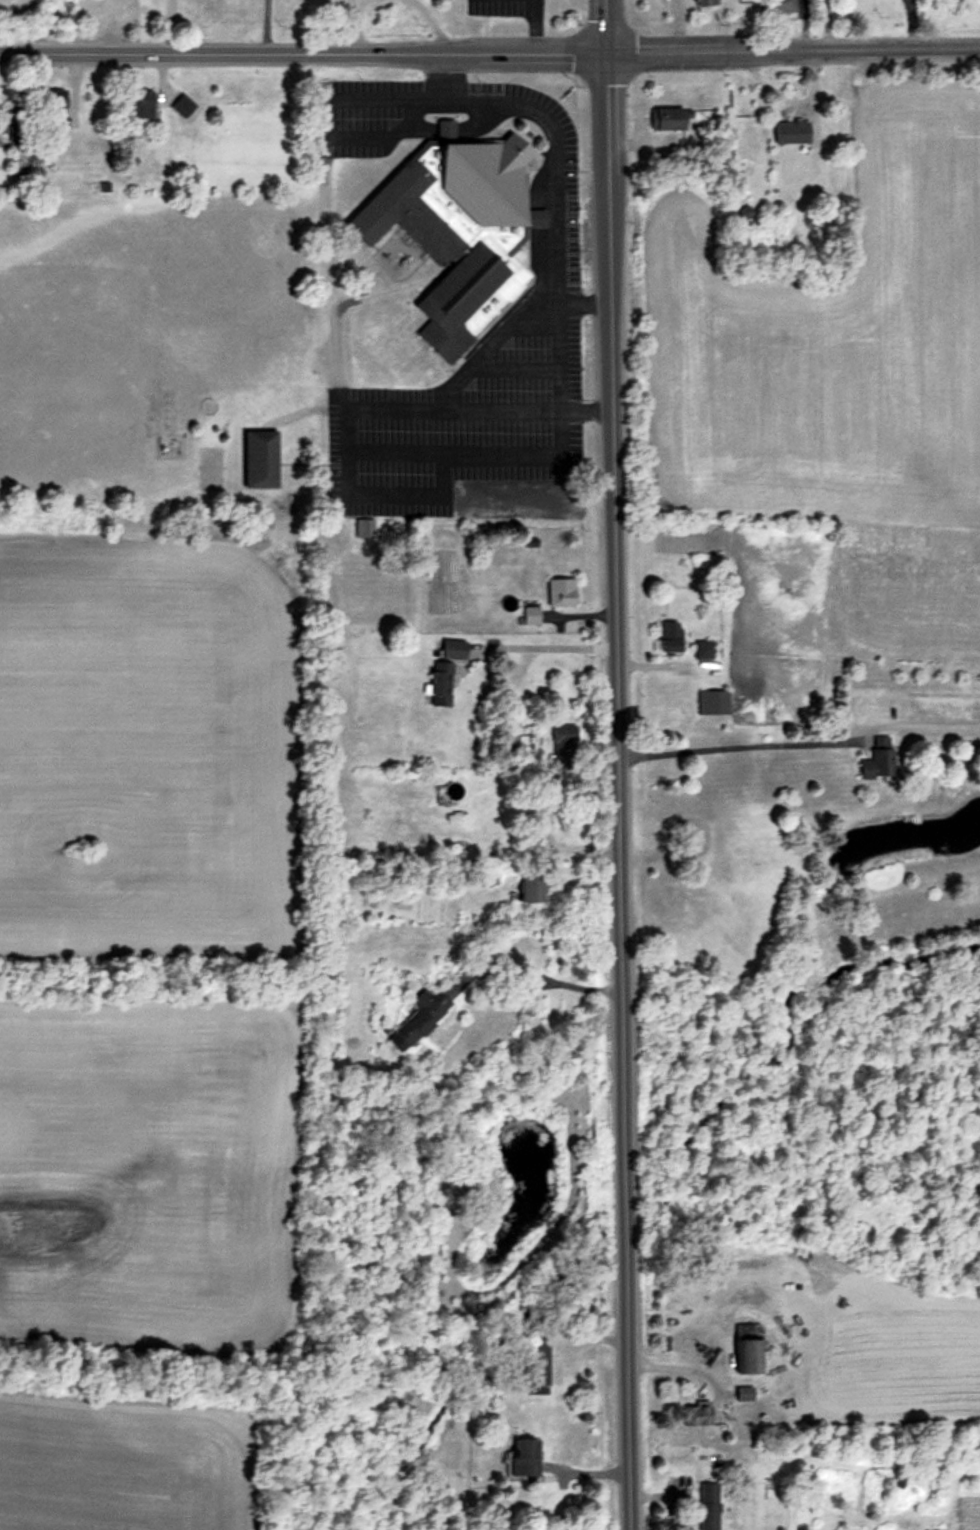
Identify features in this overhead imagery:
building: (705, 2)
building: (776, 6)
road: (910, 24)
road: (432, 25)
road: (678, 25)
road: (802, 25)
road: (825, 25)
road: (354, 26)
road: (530, 26)
road: (164, 27)
road: (490, 53)
road: (810, 85)
building: (55, 102)
building: (143, 106)
building: (183, 107)
building: (5, 108)
road: (318, 112)
building: (669, 120)
building: (797, 133)
building: (15, 135)
road: (629, 146)
road: (552, 158)
building: (20, 161)
building: (744, 212)
building: (459, 232)
road: (491, 346)
road: (563, 381)
building: (261, 460)
road: (352, 495)
building: (523, 614)
building: (666, 636)
road: (552, 647)
building: (454, 649)
building: (701, 649)
building: (334, 660)
building: (441, 684)
building: (710, 701)
road: (734, 747)
building: (875, 759)
road: (618, 765)
road: (514, 966)
building: (420, 1019)
building: (744, 1355)
building: (742, 1393)
building: (694, 1415)
building: (706, 1506)

